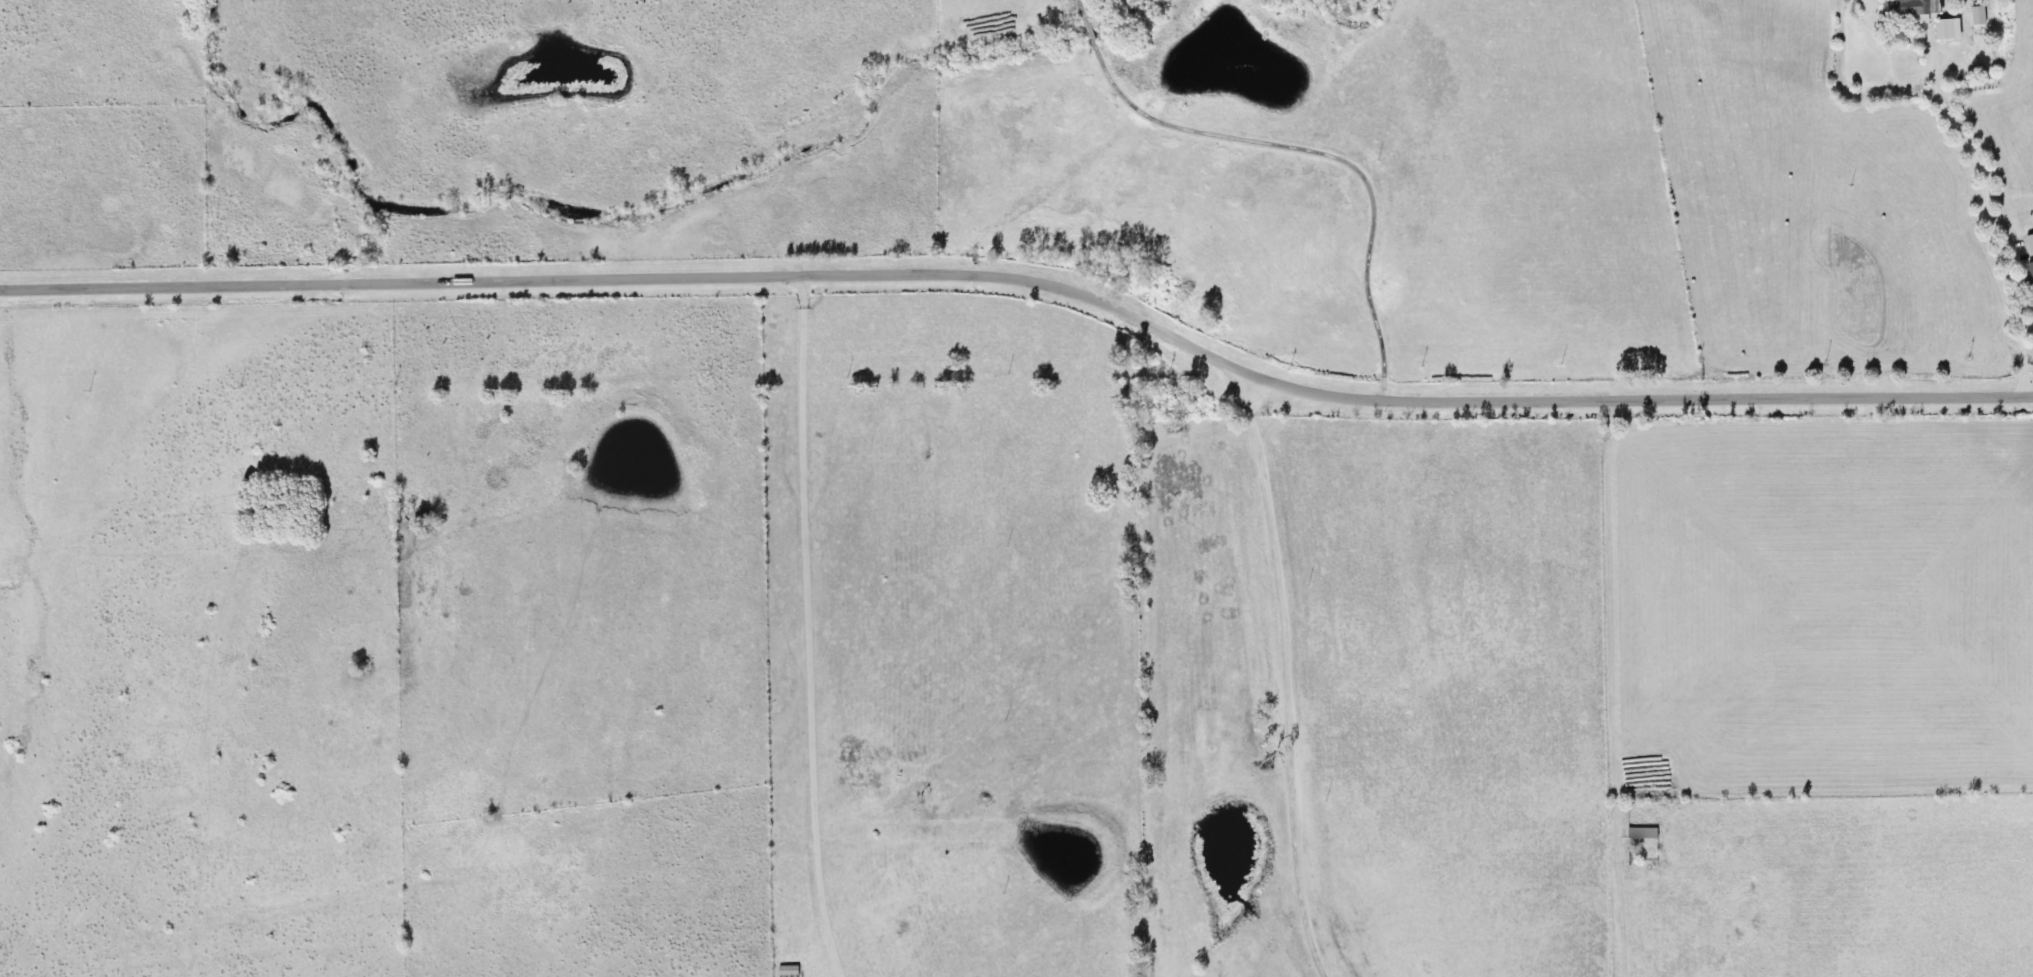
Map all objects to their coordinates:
building: (1927, 14)
road: (1984, 213)
road: (1028, 276)
road: (801, 628)
road: (1287, 676)
building: (1645, 834)
building: (790, 972)

